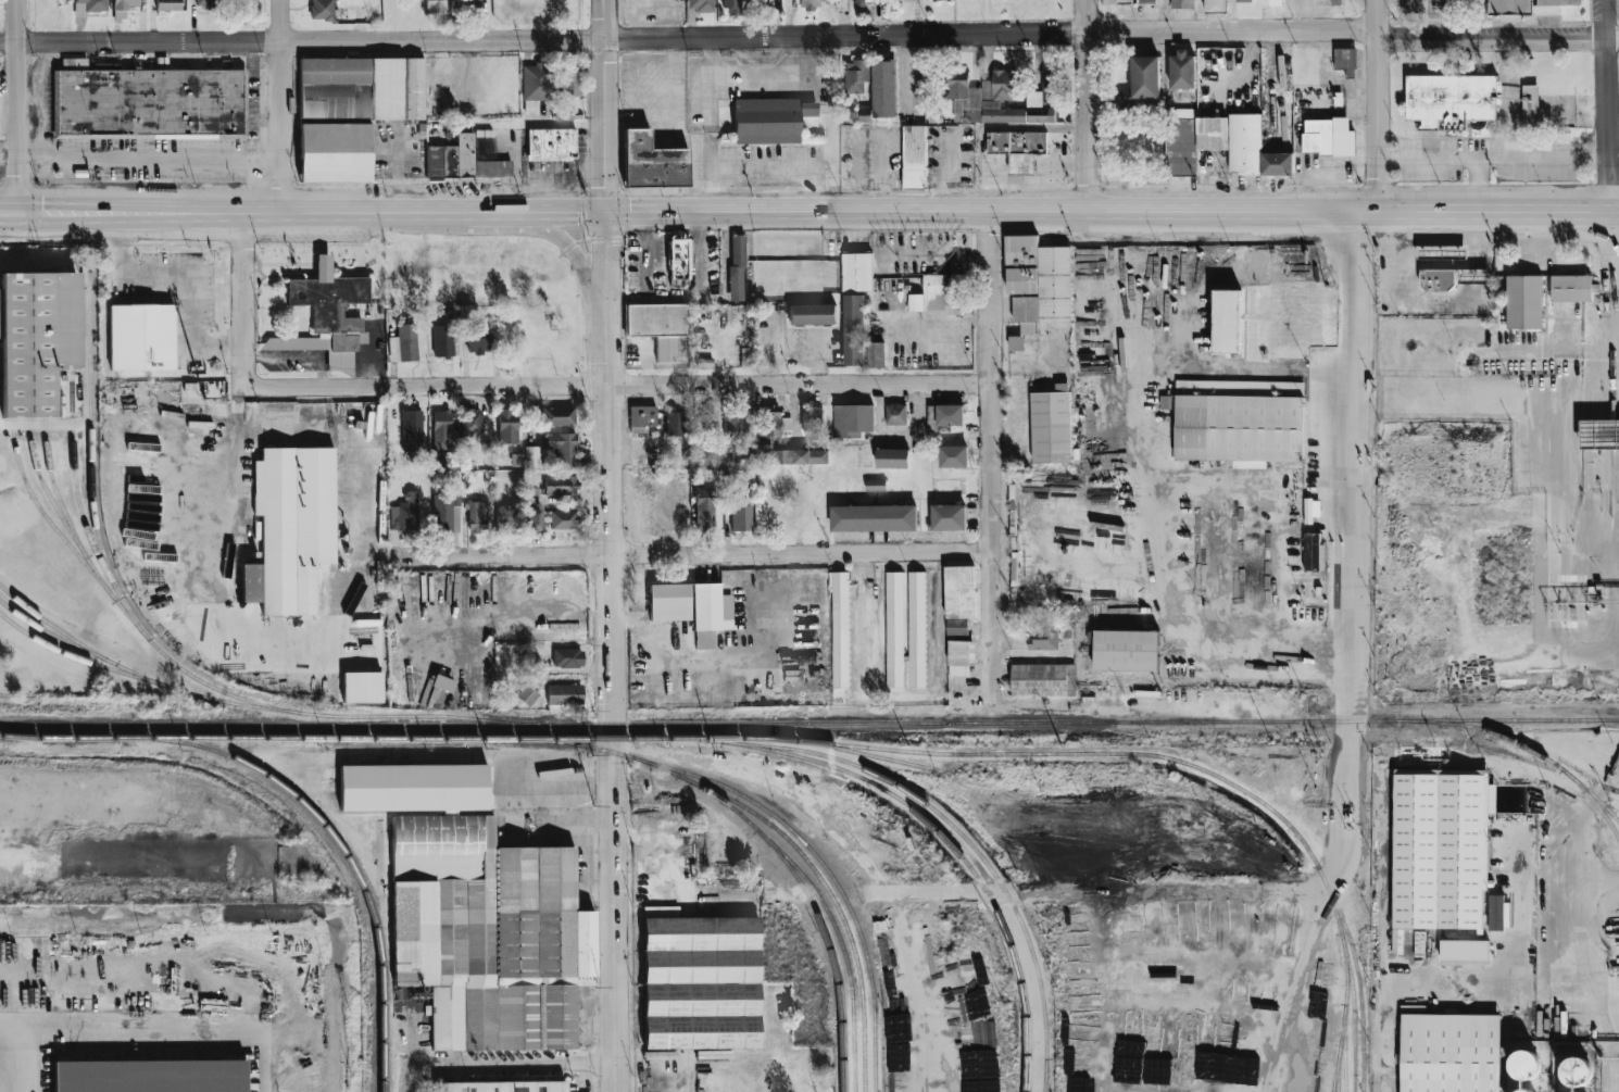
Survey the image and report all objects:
building: (843, 1)
building: (1124, 1)
building: (1147, 1)
building: (863, 2)
building: (1271, 2)
building: (1327, 2)
building: (206, 3)
building: (1182, 3)
building: (124, 4)
building: (168, 4)
building: (808, 4)
building: (437, 5)
building: (473, 5)
building: (700, 5)
building: (730, 5)
building: (1217, 5)
building: (1555, 5)
building: (89, 7)
building: (1511, 9)
building: (322, 10)
road: (1407, 21)
road: (808, 41)
building: (1345, 61)
building: (1182, 71)
building: (857, 75)
building: (1143, 79)
building: (570, 81)
building: (536, 87)
building: (883, 88)
building: (387, 89)
building: (413, 89)
building: (335, 90)
building: (1045, 97)
building: (984, 99)
building: (1451, 100)
building: (148, 104)
road: (1604, 104)
road: (1084, 105)
road: (1375, 105)
building: (1530, 105)
road: (603, 106)
road: (15, 108)
road: (278, 108)
building: (563, 113)
building: (768, 121)
road: (714, 127)
road: (990, 127)
building: (1235, 137)
building: (1328, 137)
building: (550, 145)
building: (335, 153)
building: (915, 156)
road: (8, 158)
road: (148, 158)
road: (1541, 159)
road: (1452, 160)
building: (463, 162)
building: (652, 165)
road: (783, 171)
road: (1054, 172)
road: (1020, 181)
road: (1063, 212)
road: (316, 214)
traffic signals: (604, 214)
road: (8, 216)
traffic signals: (16, 216)
road: (72, 216)
road: (700, 251)
road: (575, 255)
building: (678, 258)
road: (1616, 258)
road: (1438, 264)
building: (736, 267)
road: (604, 272)
building: (857, 272)
road: (185, 276)
building: (1436, 279)
road: (644, 280)
building: (1038, 281)
building: (1569, 288)
building: (944, 290)
road: (625, 297)
road: (240, 302)
building: (915, 302)
building: (1524, 302)
building: (325, 311)
building: (812, 314)
building: (1227, 321)
building: (657, 324)
railway: (71, 327)
building: (854, 329)
building: (141, 337)
building: (477, 338)
building: (37, 339)
building: (443, 340)
building: (1016, 343)
building: (402, 348)
road: (1547, 348)
building: (875, 354)
railway: (73, 369)
road: (1145, 376)
railway: (12, 377)
railway: (28, 377)
railway: (45, 377)
road: (615, 388)
building: (895, 414)
building: (950, 415)
building: (559, 416)
building: (642, 417)
building: (812, 419)
building: (852, 421)
building: (470, 422)
building: (732, 422)
building: (1239, 422)
building: (674, 424)
building: (506, 426)
building: (1051, 426)
building: (411, 430)
building: (440, 430)
building: (1599, 435)
building: (564, 449)
road: (989, 454)
building: (789, 455)
building: (532, 456)
building: (953, 456)
building: (892, 459)
building: (443, 461)
building: (731, 479)
building: (560, 485)
railway: (77, 490)
railway: (47, 491)
building: (705, 510)
building: (445, 511)
building: (404, 513)
railway: (65, 514)
building: (478, 516)
building: (741, 517)
building: (949, 517)
building: (874, 518)
building: (509, 519)
building: (534, 519)
building: (562, 519)
road: (1352, 524)
building: (298, 528)
railway: (63, 538)
railway: (99, 540)
road: (1092, 548)
building: (1313, 551)
road: (699, 555)
building: (250, 582)
building: (959, 592)
building: (668, 602)
building: (711, 614)
road: (509, 623)
building: (840, 629)
building: (894, 629)
building: (917, 629)
railway: (52, 633)
building: (1043, 637)
road: (317, 642)
building: (1126, 650)
building: (961, 657)
building: (567, 658)
railway: (85, 660)
road: (713, 660)
railway: (134, 673)
building: (1043, 680)
building: (527, 694)
building: (565, 694)
road: (900, 694)
road: (1484, 708)
road: (1085, 710)
road: (607, 712)
railway: (418, 716)
railway: (810, 723)
railway: (21, 737)
railway: (80, 737)
railway: (392, 737)
railway: (21, 738)
railway: (568, 742)
railway: (1520, 744)
railway: (854, 752)
railway: (1127, 754)
railway: (1040, 787)
road: (1602, 791)
railway: (1593, 802)
railway: (1589, 804)
railway: (946, 820)
road: (661, 842)
railway: (804, 843)
railway: (338, 844)
railway: (953, 848)
railway: (795, 849)
building: (1441, 849)
road: (1338, 864)
railway: (794, 876)
road: (1599, 878)
road: (1094, 891)
building: (477, 912)
building: (1496, 913)
railway: (828, 914)
building: (1395, 937)
road: (1580, 962)
building: (975, 969)
railway: (1357, 975)
road: (1483, 980)
building: (700, 981)
road: (1293, 990)
railway: (1343, 1013)
road: (171, 1031)
railway: (378, 1038)
railway: (1343, 1047)
road: (17, 1053)
building: (1451, 1053)
railway: (863, 1056)
railway: (874, 1056)
railway: (843, 1057)
railway: (852, 1057)
road: (517, 1062)
building: (1522, 1067)
railway: (1336, 1068)
building: (1574, 1072)
railway: (1027, 1075)
railway: (1044, 1075)
building: (150, 1076)
building: (502, 1087)
building: (1524, 1090)

